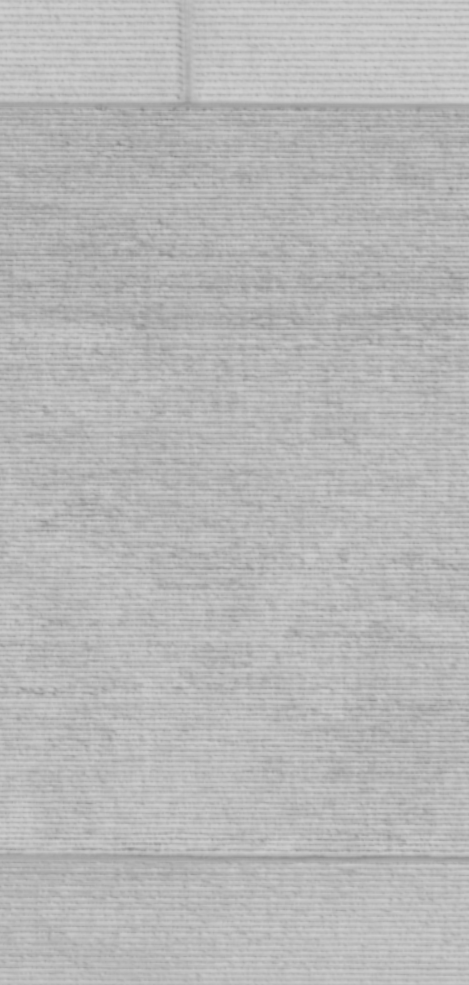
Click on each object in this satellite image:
crop: (234, 492)

